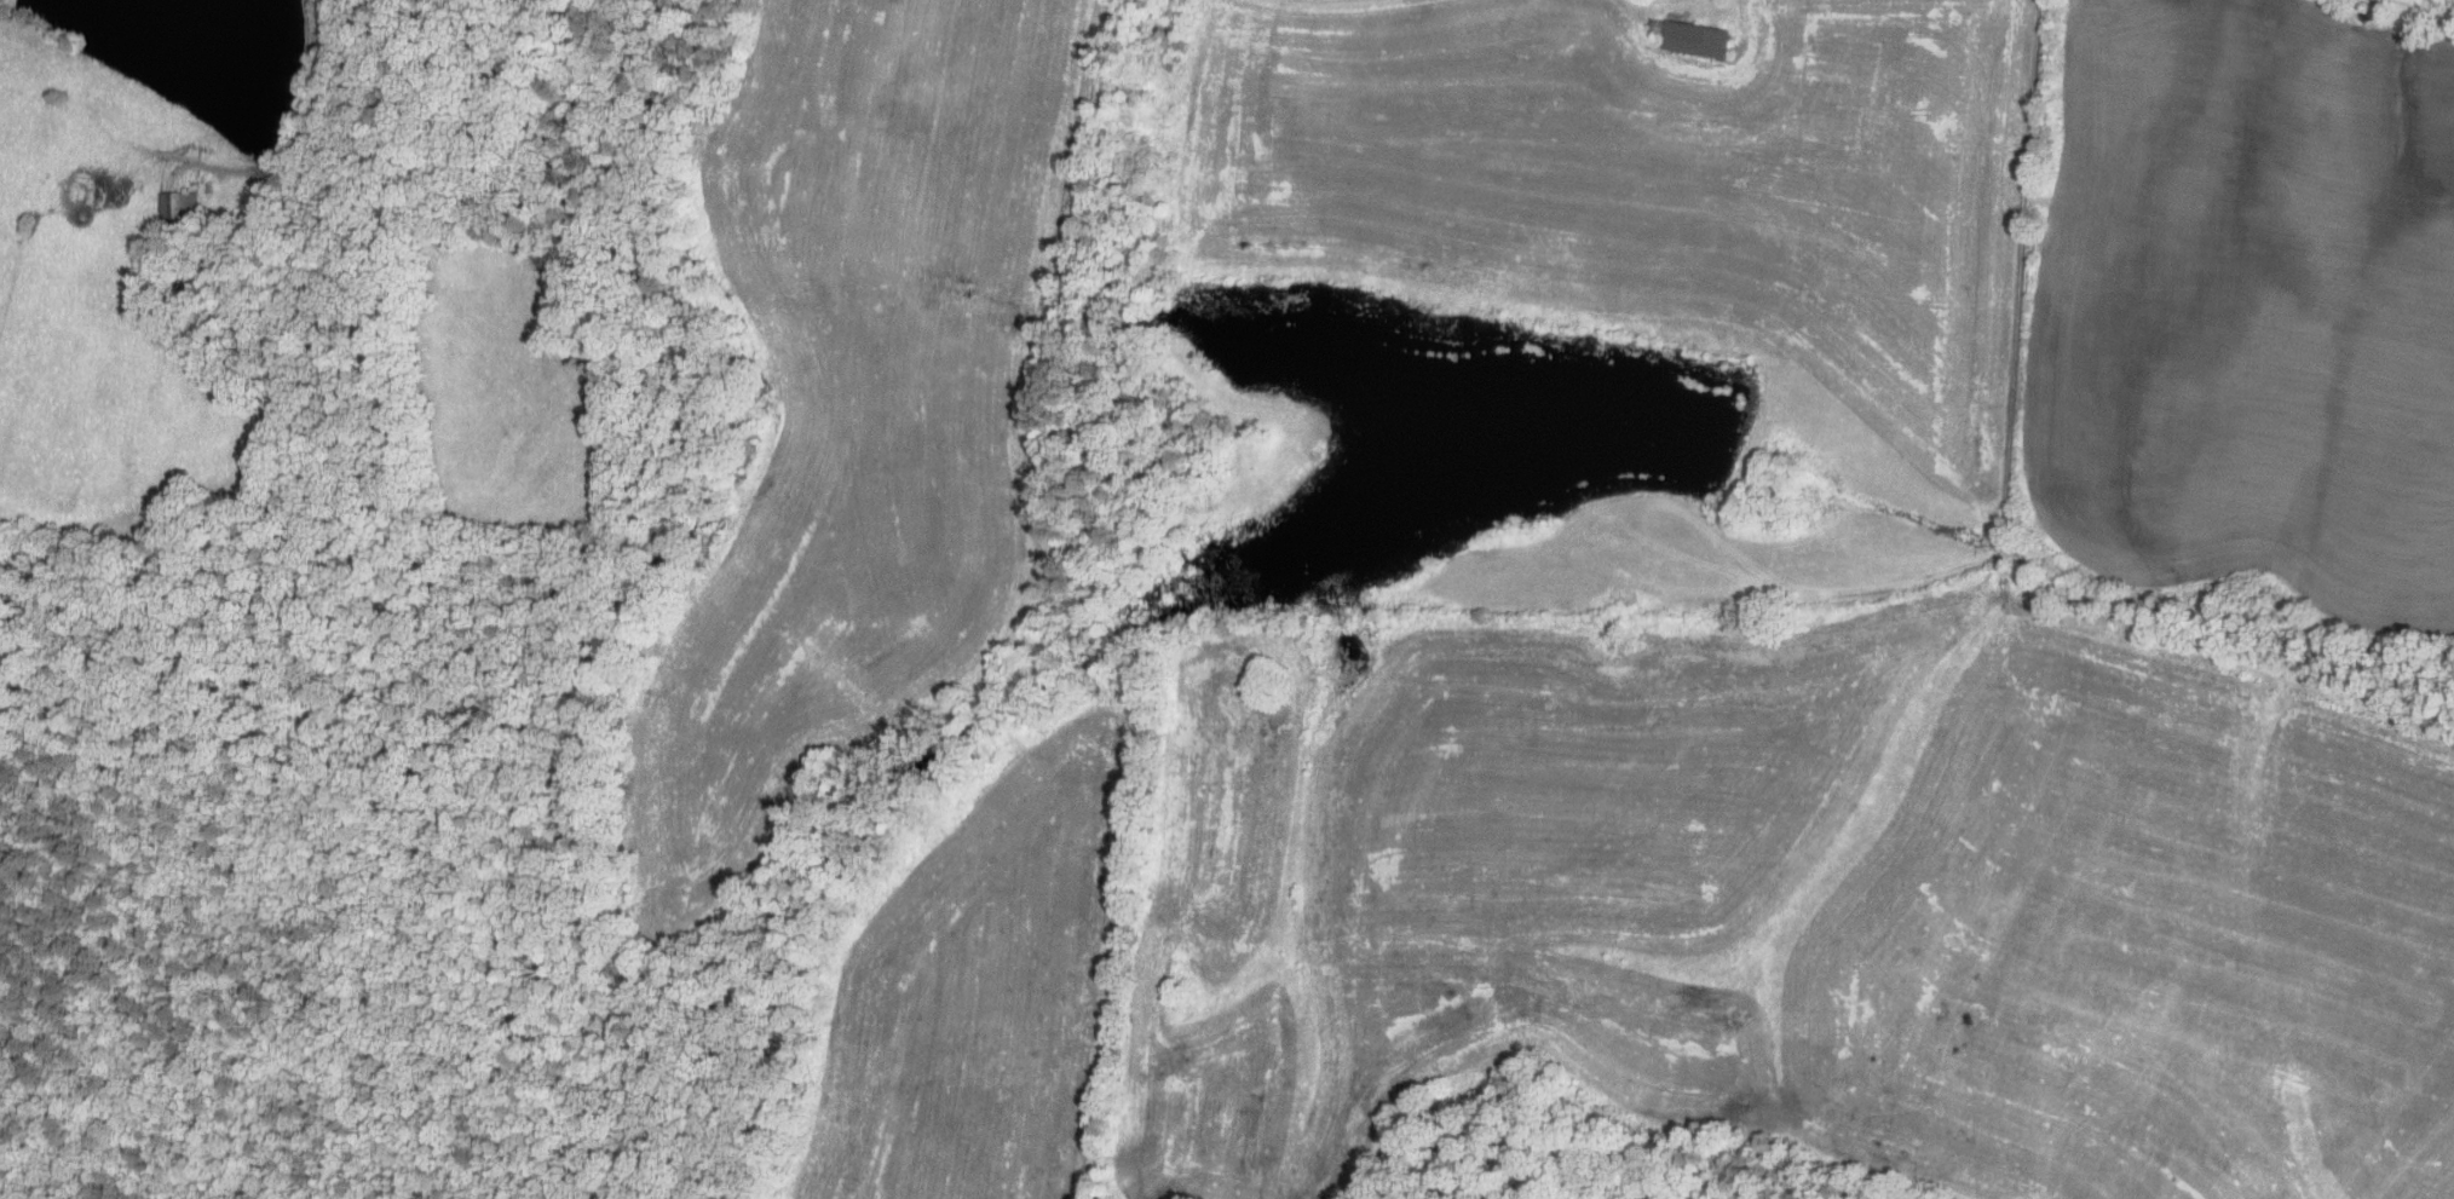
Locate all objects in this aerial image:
building: (1689, 36)
building: (175, 204)
road: (2004, 534)

